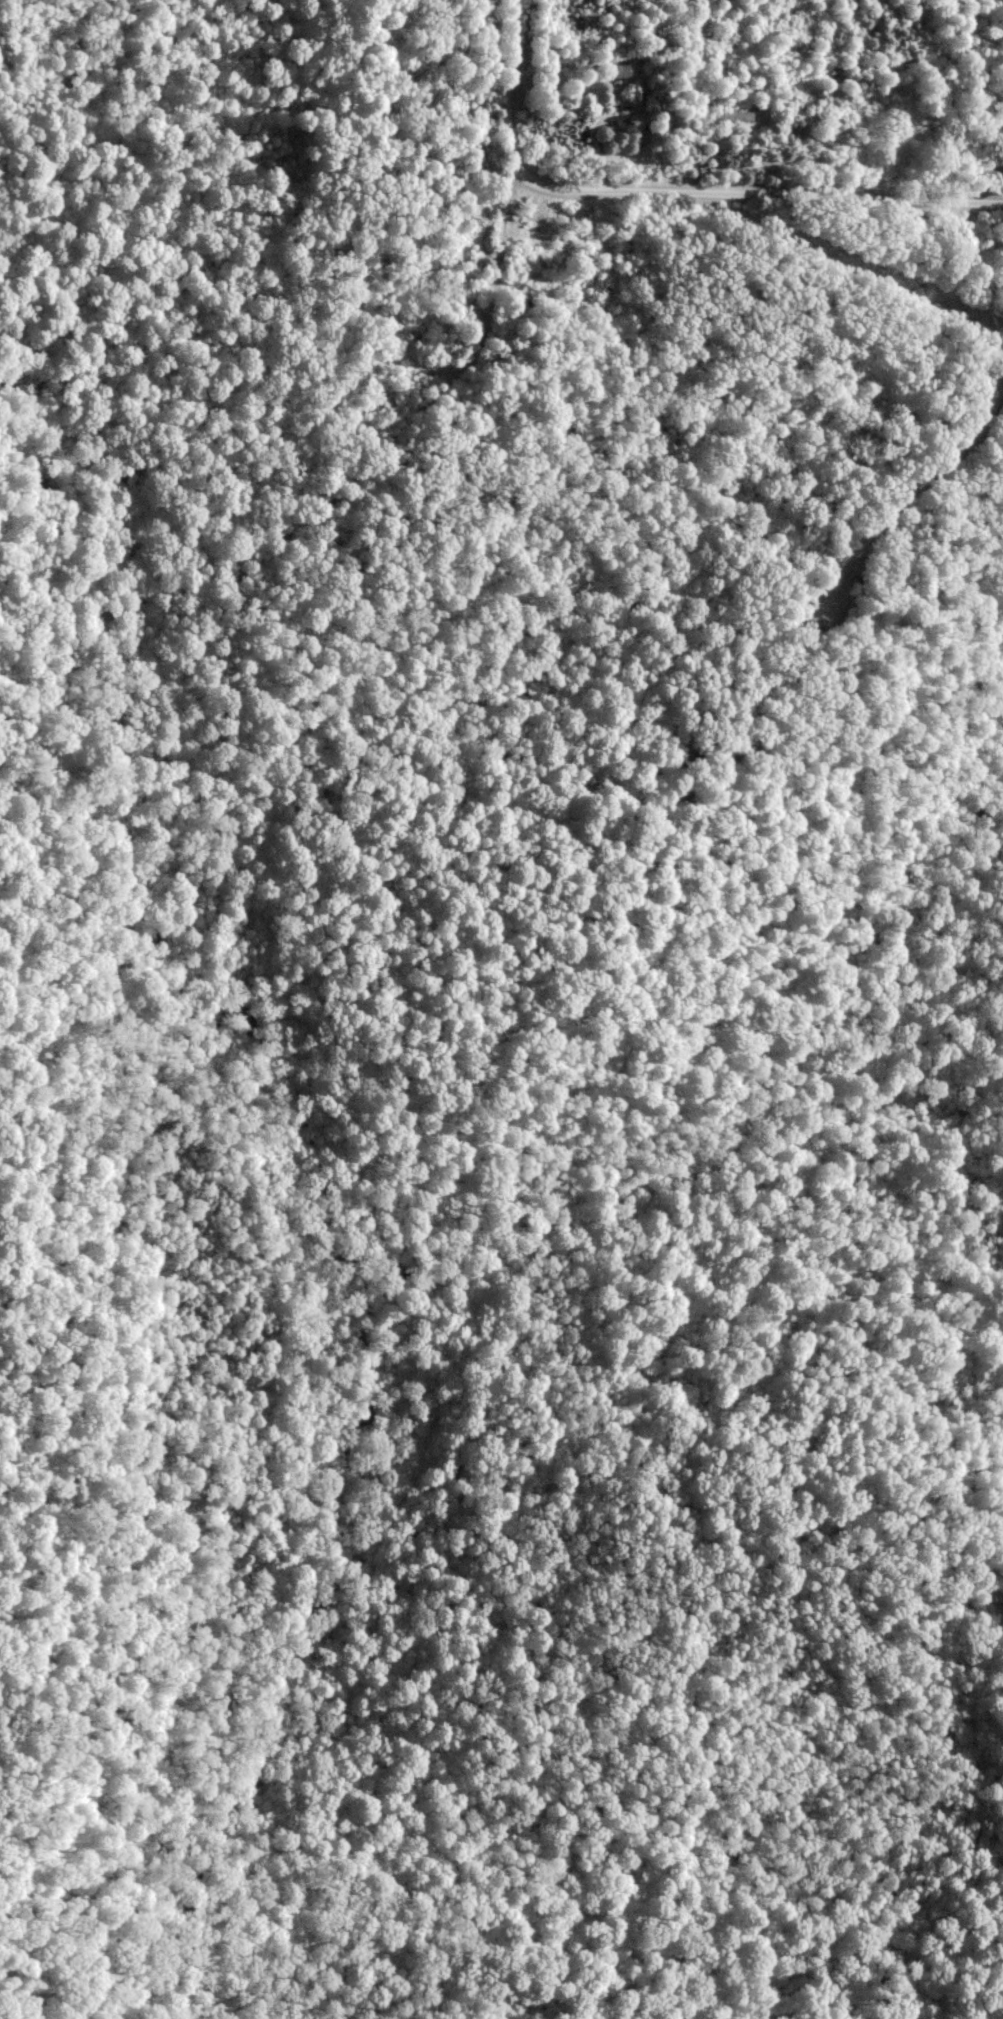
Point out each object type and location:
building: (620, 72)
building: (729, 116)
road: (663, 187)
road: (941, 464)

